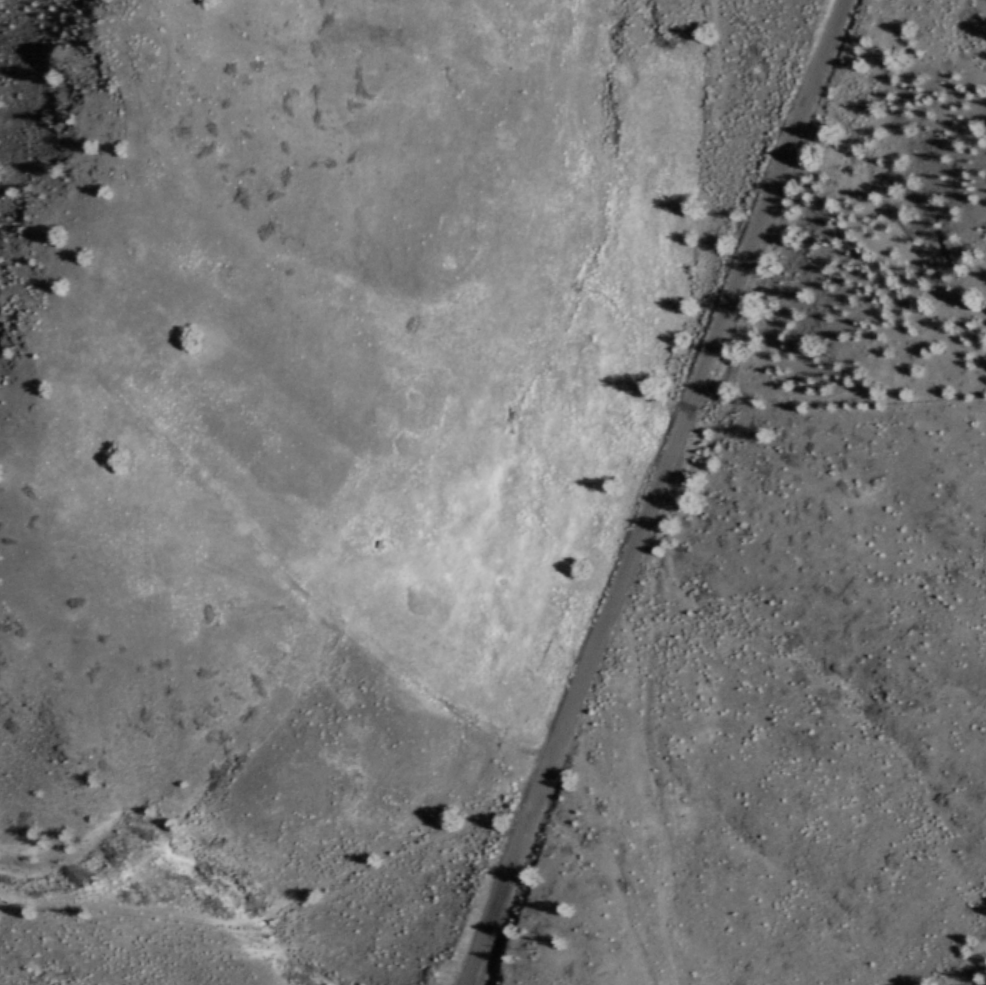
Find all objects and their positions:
road: (612, 503)

